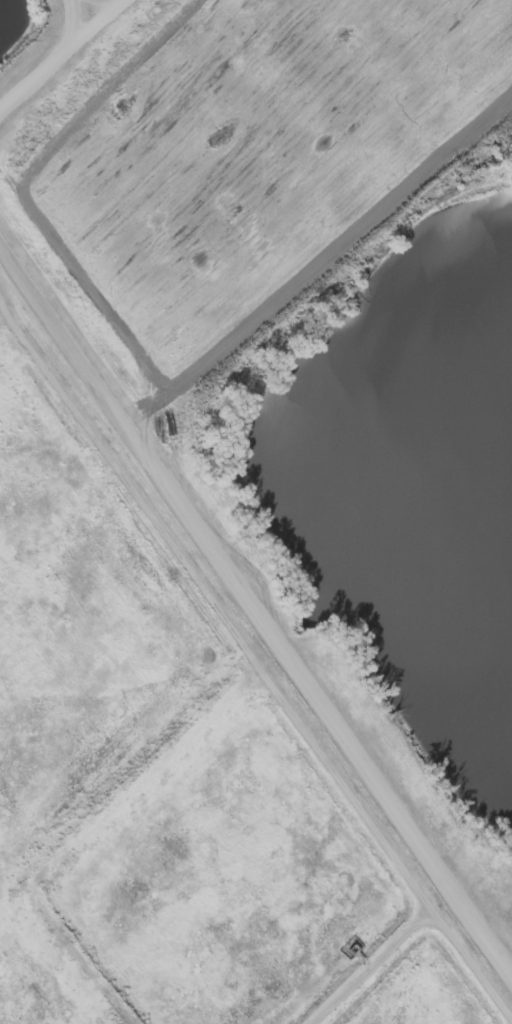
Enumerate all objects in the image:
road: (60, 52)
wastewater plant: (256, 512)
road: (248, 595)
road: (508, 961)

